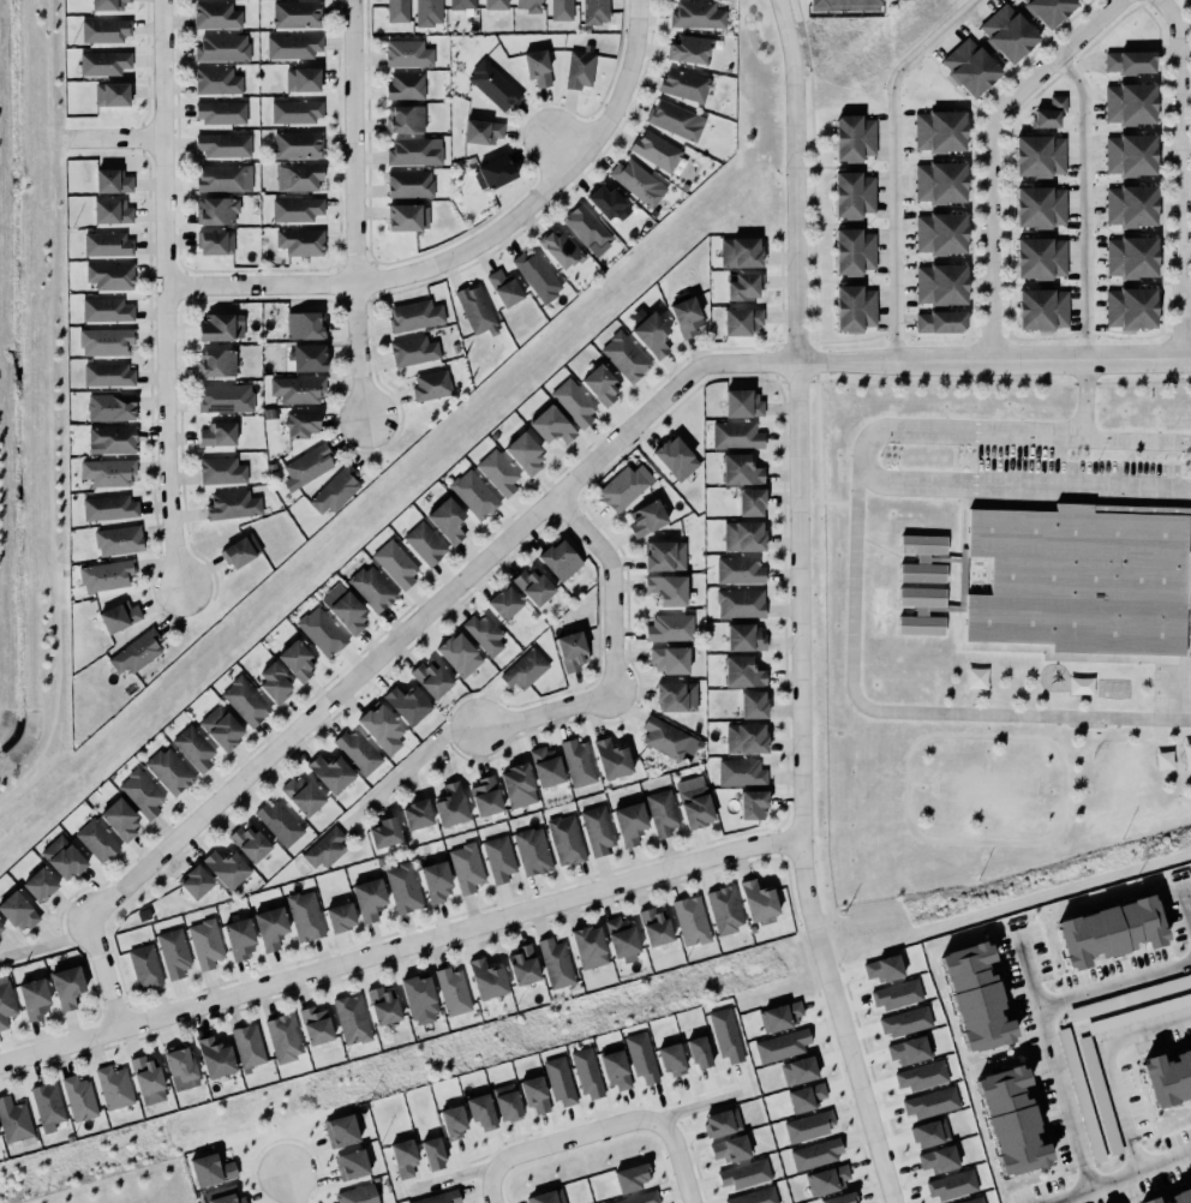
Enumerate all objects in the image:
road: (1189, 1)
building: (457, 2)
building: (491, 2)
building: (840, 4)
building: (107, 5)
building: (526, 5)
park: (1185, 6)
building: (559, 10)
building: (1047, 10)
building: (397, 11)
building: (429, 12)
building: (595, 12)
building: (297, 14)
building: (216, 16)
building: (696, 16)
building: (103, 29)
building: (1006, 34)
building: (293, 46)
building: (222, 48)
building: (689, 49)
building: (407, 54)
road: (1055, 59)
building: (101, 62)
building: (1129, 62)
building: (535, 66)
building: (968, 66)
building: (576, 68)
building: (301, 78)
building: (217, 80)
building: (682, 80)
road: (809, 82)
building: (491, 84)
building: (405, 85)
building: (110, 94)
building: (1127, 103)
building: (297, 110)
building: (220, 112)
building: (1047, 113)
building: (672, 115)
building: (403, 118)
building: (481, 131)
building: (939, 131)
road: (114, 138)
building: (851, 138)
building: (223, 144)
building: (298, 144)
building: (653, 150)
building: (414, 151)
building: (1037, 155)
building: (1129, 155)
road: (894, 161)
building: (493, 172)
building: (110, 175)
road: (1179, 175)
building: (299, 176)
building: (225, 178)
building: (636, 181)
building: (938, 182)
building: (409, 184)
building: (851, 190)
building: (603, 202)
road: (1084, 202)
building: (1129, 205)
building: (1037, 207)
building: (295, 209)
building: (214, 210)
building: (109, 211)
road: (354, 211)
building: (403, 211)
building: (587, 229)
building: (938, 233)
road: (989, 239)
building: (299, 240)
building: (216, 243)
building: (107, 244)
road: (471, 245)
building: (559, 250)
building: (737, 252)
building: (852, 252)
building: (1039, 258)
building: (1130, 258)
building: (108, 275)
building: (537, 275)
building: (939, 283)
building: (743, 287)
building: (502, 288)
road: (164, 292)
building: (1130, 307)
building: (852, 309)
building: (1041, 309)
building: (106, 310)
building: (477, 310)
building: (415, 315)
building: (684, 315)
building: (740, 321)
building: (939, 321)
building: (304, 324)
building: (214, 327)
building: (651, 334)
road: (49, 336)
building: (104, 341)
building: (414, 351)
building: (623, 355)
building: (215, 357)
building: (309, 358)
road: (950, 359)
building: (108, 375)
building: (599, 384)
building: (431, 385)
building: (295, 388)
building: (226, 397)
building: (574, 402)
building: (742, 403)
building: (110, 407)
building: (300, 424)
building: (551, 425)
building: (216, 432)
building: (735, 435)
building: (110, 439)
road: (1135, 439)
building: (522, 454)
building: (675, 457)
building: (306, 463)
building: (740, 469)
building: (221, 471)
building: (106, 472)
building: (498, 472)
road: (867, 472)
building: (622, 486)
building: (333, 489)
building: (472, 493)
building: (748, 502)
building: (233, 504)
building: (109, 508)
building: (644, 519)
building: (445, 520)
building: (743, 535)
building: (118, 540)
building: (423, 543)
building: (240, 550)
building: (664, 556)
building: (922, 558)
building: (557, 561)
building: (393, 563)
building: (740, 570)
building: (104, 574)
building: (1079, 579)
building: (533, 586)
building: (372, 587)
building: (666, 589)
building: (504, 603)
building: (740, 603)
road: (798, 606)
building: (345, 609)
building: (921, 610)
building: (116, 616)
building: (668, 627)
building: (319, 629)
building: (483, 633)
building: (743, 638)
building: (569, 651)
building: (136, 652)
road: (615, 653)
building: (456, 656)
building: (670, 659)
building: (294, 660)
building: (525, 669)
building: (740, 672)
road: (359, 677)
building: (430, 680)
building: (274, 682)
building: (403, 696)
building: (676, 696)
building: (245, 701)
building: (750, 705)
road: (904, 714)
building: (221, 728)
building: (379, 728)
building: (668, 738)
building: (744, 738)
road: (42, 741)
building: (192, 748)
building: (355, 750)
road: (418, 758)
building: (610, 759)
building: (576, 761)
building: (546, 766)
building: (169, 771)
building: (741, 772)
building: (330, 773)
building: (517, 785)
building: (142, 794)
building: (300, 796)
building: (484, 797)
building: (694, 802)
building: (753, 804)
building: (450, 806)
building: (662, 812)
building: (415, 815)
building: (116, 820)
building: (280, 822)
building: (628, 824)
building: (598, 830)
building: (384, 832)
building: (564, 839)
building: (96, 840)
building: (250, 843)
building: (324, 849)
building: (532, 851)
building: (60, 858)
building: (497, 858)
building: (223, 868)
building: (466, 868)
building: (436, 881)
building: (193, 882)
building: (36, 886)
building: (403, 887)
building: (369, 899)
building: (759, 902)
building: (725, 909)
building: (16, 912)
building: (305, 916)
building: (340, 917)
building: (690, 921)
building: (1109, 926)
building: (0, 927)
building: (654, 927)
building: (270, 928)
building: (618, 934)
building: (237, 939)
building: (205, 944)
road: (48, 946)
building: (588, 946)
road: (400, 950)
building: (173, 952)
building: (553, 960)
building: (143, 964)
building: (523, 965)
building: (882, 965)
building: (486, 980)
road: (1113, 984)
building: (66, 987)
building: (453, 990)
building: (972, 992)
building: (417, 993)
building: (896, 994)
building: (34, 999)
building: (5, 1000)
building: (381, 1003)
building: (778, 1013)
building: (352, 1019)
building: (904, 1022)
building: (316, 1025)
building: (725, 1034)
building: (283, 1036)
building: (782, 1045)
building: (247, 1046)
building: (698, 1049)
building: (909, 1049)
building: (641, 1057)
building: (670, 1057)
building: (215, 1058)
building: (180, 1066)
building: (615, 1067)
building: (797, 1067)
road: (1054, 1067)
building: (585, 1071)
building: (920, 1073)
building: (1166, 1073)
building: (145, 1077)
building: (559, 1082)
road: (1112, 1083)
building: (114, 1087)
building: (534, 1094)
building: (1100, 1094)
building: (804, 1095)
building: (79, 1097)
building: (46, 1101)
building: (505, 1101)
building: (929, 1102)
road: (702, 1106)
building: (479, 1109)
building: (1009, 1117)
building: (451, 1119)
building: (14, 1120)
building: (722, 1123)
road: (615, 1126)
building: (808, 1126)
building: (339, 1129)
building: (930, 1132)
building: (729, 1147)
building: (430, 1150)
building: (816, 1154)
building: (403, 1157)
building: (936, 1157)
building: (348, 1162)
building: (209, 1167)
building: (743, 1172)
building: (629, 1175)
building: (826, 1178)
road: (449, 1179)
building: (951, 1183)
road: (1094, 1185)
road: (491, 1187)
road: (291, 1189)
building: (355, 1193)
building: (221, 1195)
building: (545, 1196)
building: (755, 1196)
building: (1169, 1196)
building: (437, 1197)
building: (839, 1197)
building: (638, 1198)
building: (969, 1199)

